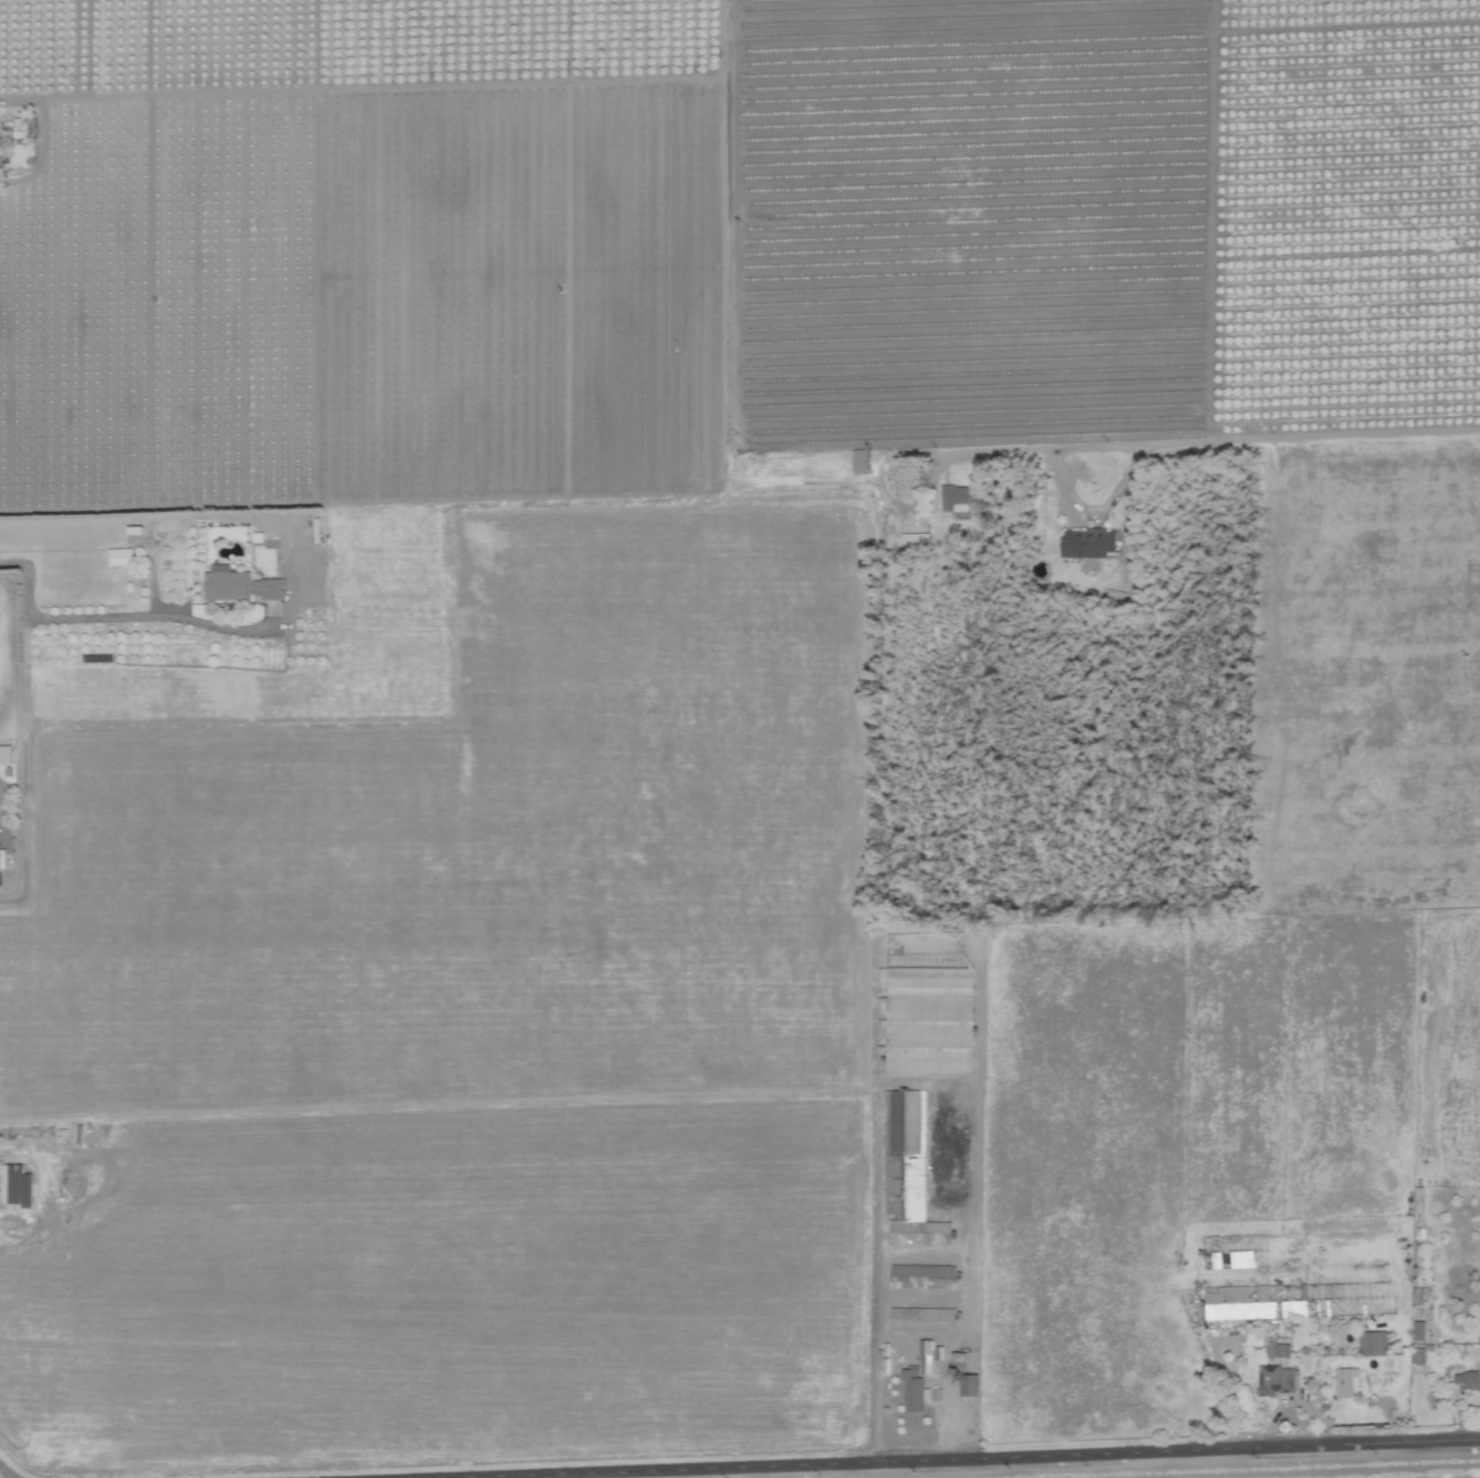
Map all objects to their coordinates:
road: (400, 87)
road: (1263, 440)
building: (860, 461)
building: (954, 499)
building: (915, 540)
building: (1088, 543)
building: (119, 557)
building: (237, 585)
road: (98, 619)
crop: (213, 633)
crop: (740, 739)
building: (5, 755)
building: (926, 943)
crop: (887, 1158)
building: (908, 1169)
building: (48, 1182)
building: (11, 1183)
building: (922, 1277)
building: (1242, 1302)
building: (1296, 1306)
building: (1254, 1339)
building: (1373, 1343)
building: (1278, 1351)
building: (938, 1352)
building: (1418, 1356)
building: (925, 1357)
building: (884, 1358)
building: (1276, 1380)
building: (1468, 1380)
building: (1344, 1382)
building: (967, 1385)
building: (917, 1391)
road: (878, 1434)
road: (1085, 1459)
road: (4, 1473)

